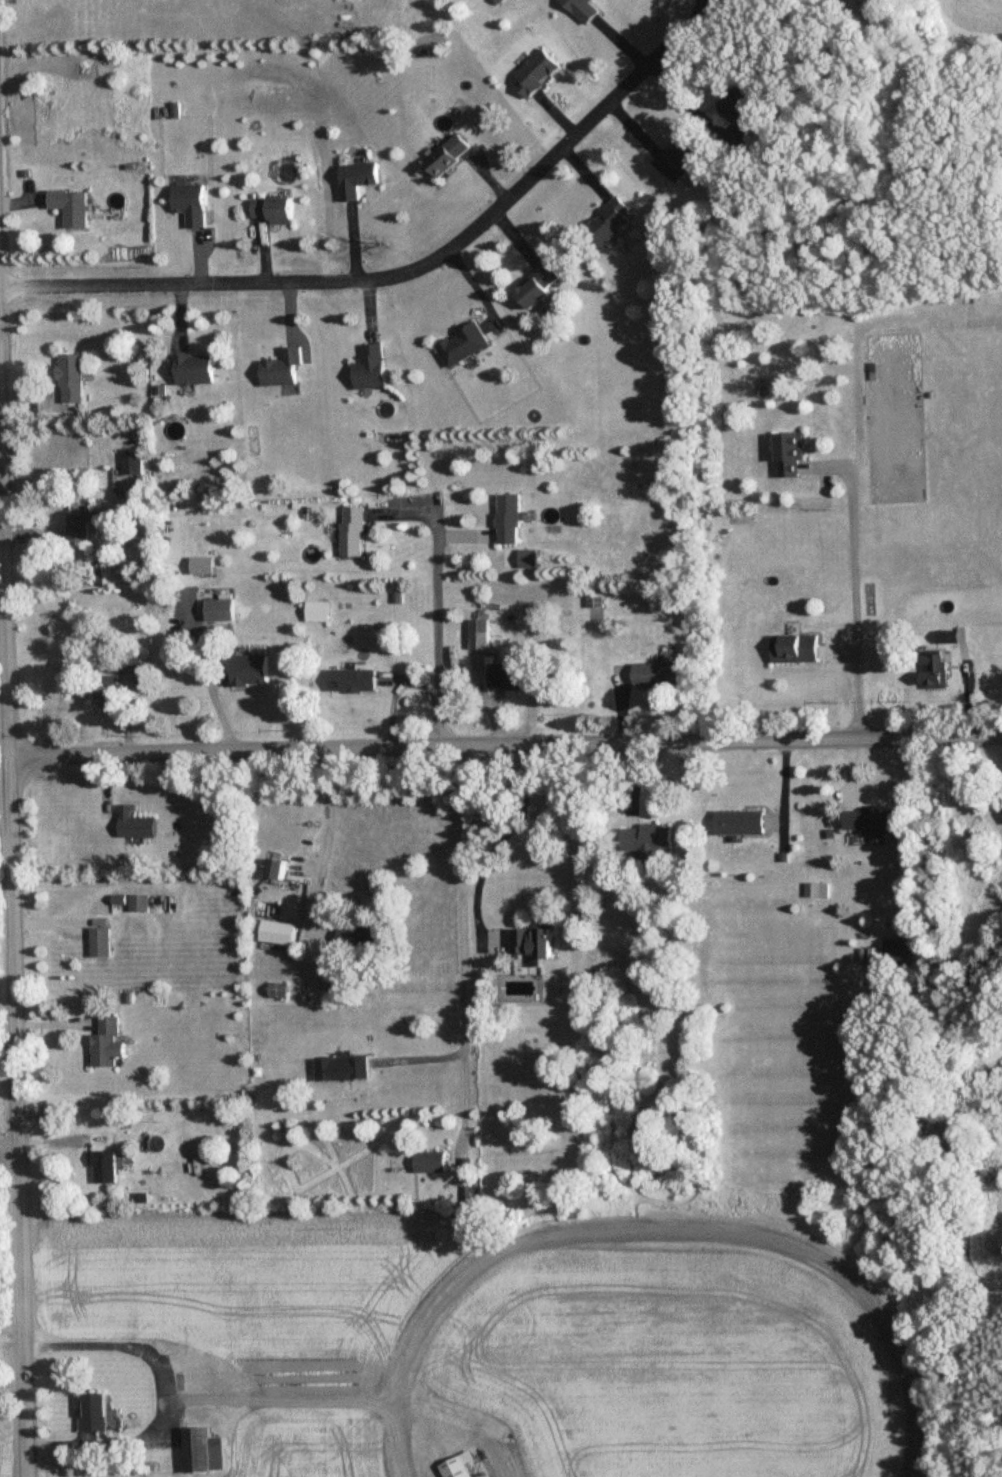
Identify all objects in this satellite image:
building: (582, 10)
building: (535, 74)
building: (741, 110)
building: (448, 157)
building: (678, 161)
building: (360, 180)
building: (196, 205)
building: (75, 208)
building: (279, 211)
building: (607, 224)
road: (352, 243)
road: (403, 269)
building: (538, 287)
building: (464, 345)
building: (373, 368)
building: (284, 369)
building: (196, 370)
building: (76, 379)
building: (791, 456)
building: (134, 464)
building: (509, 520)
building: (82, 525)
building: (353, 533)
building: (202, 567)
road: (854, 600)
building: (221, 611)
road: (1, 614)
road: (435, 622)
building: (479, 636)
building: (948, 638)
building: (796, 649)
building: (133, 660)
building: (252, 671)
building: (937, 671)
building: (660, 676)
building: (507, 679)
building: (354, 682)
road: (2, 702)
road: (503, 743)
building: (742, 823)
building: (873, 823)
building: (135, 825)
building: (649, 841)
road: (325, 843)
road: (502, 843)
building: (279, 870)
building: (138, 905)
building: (361, 938)
road: (459, 942)
building: (537, 942)
building: (102, 943)
building: (899, 951)
road: (13, 978)
building: (280, 992)
road: (7, 1036)
building: (109, 1044)
building: (344, 1068)
road: (9, 1152)
building: (432, 1162)
building: (107, 1167)
road: (169, 1397)
road: (281, 1400)
building: (99, 1413)
building: (206, 1452)
building: (460, 1466)

